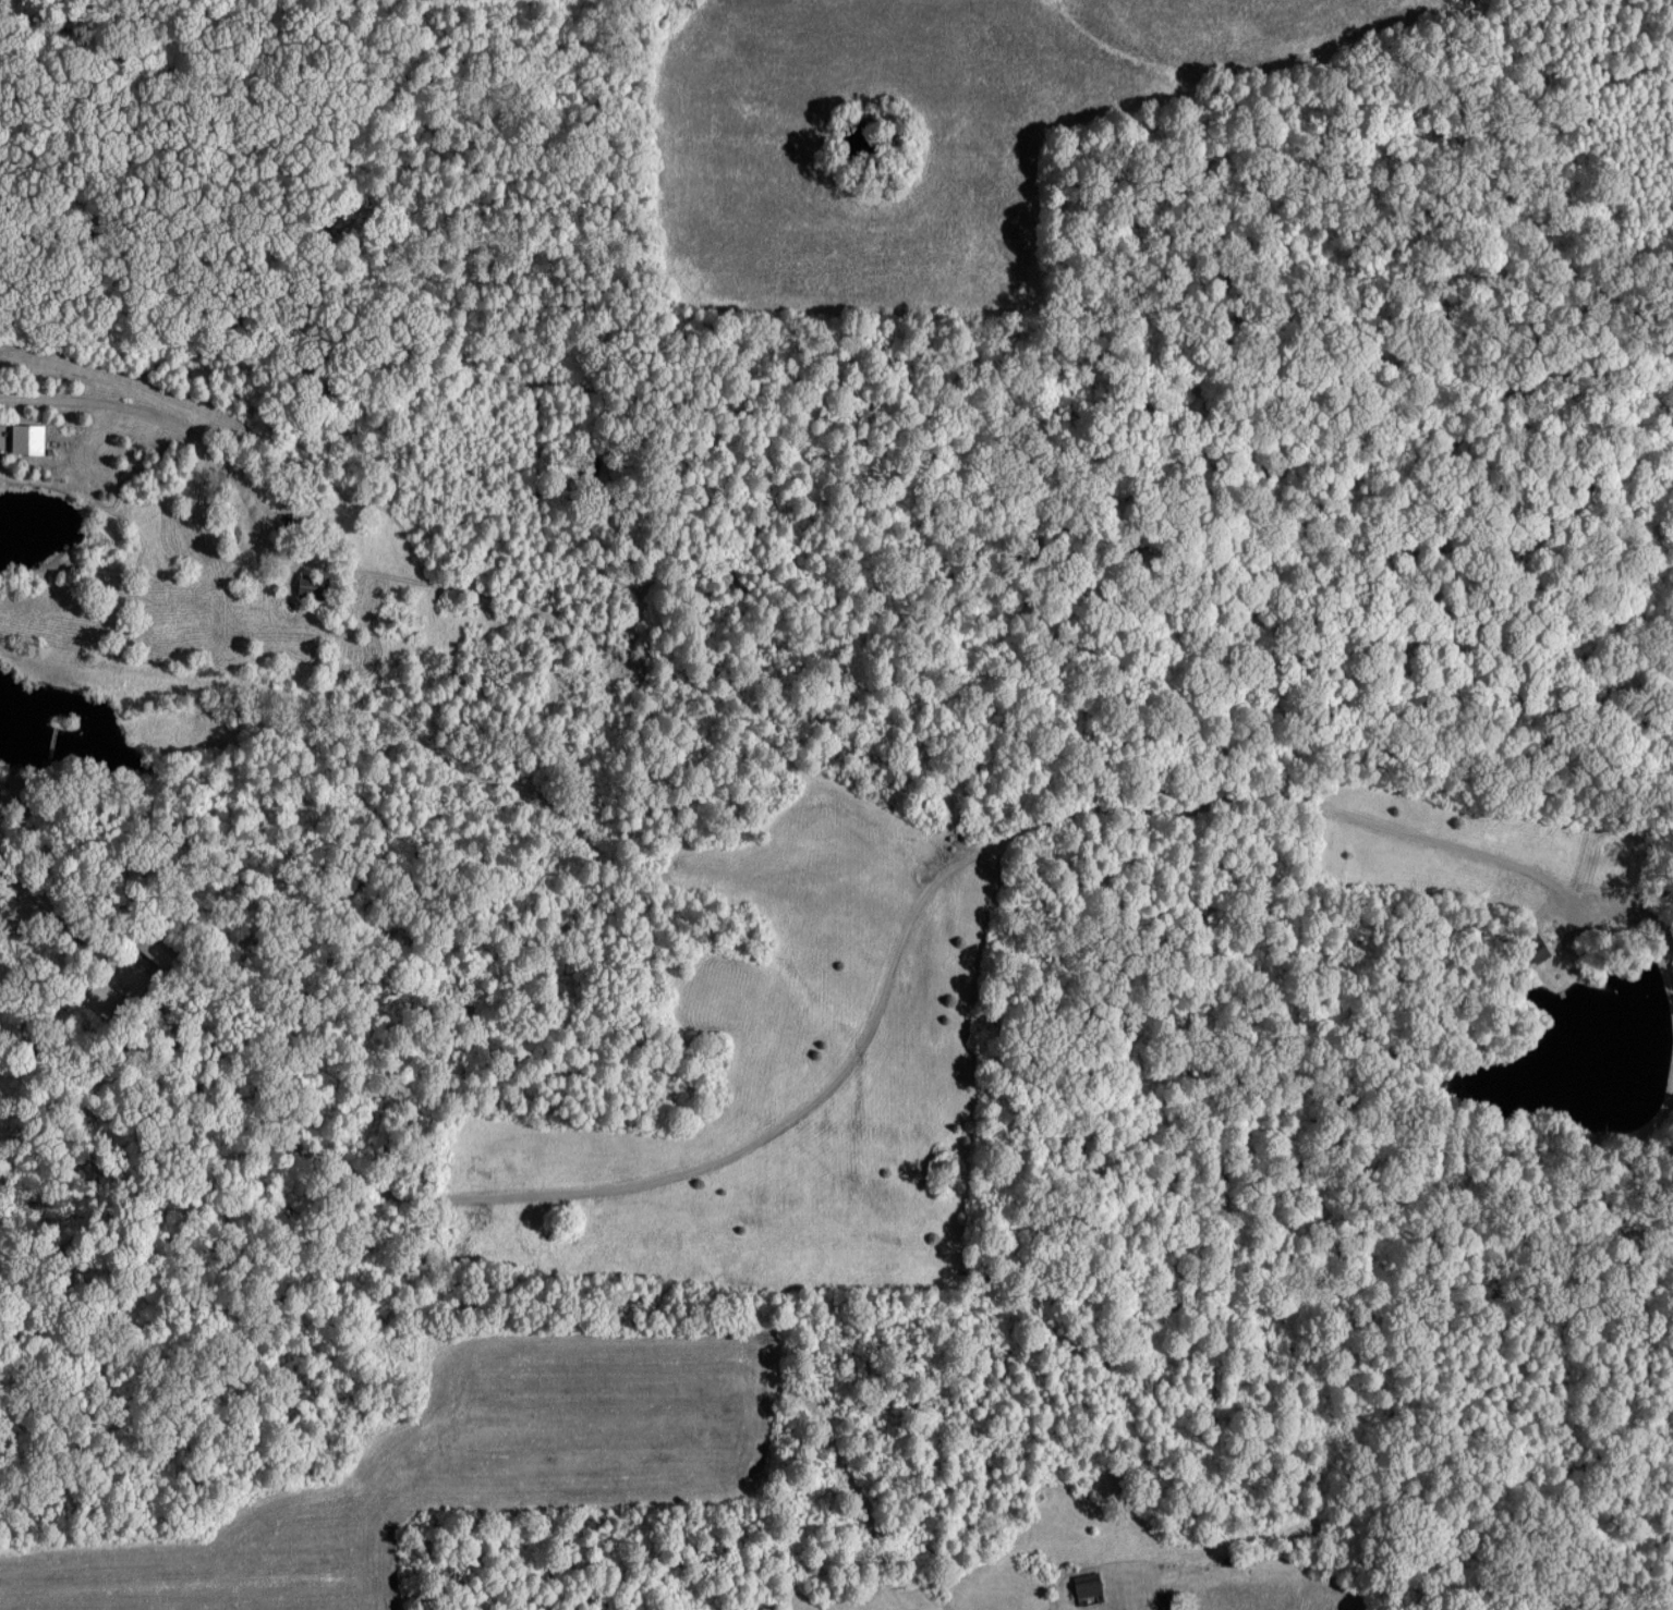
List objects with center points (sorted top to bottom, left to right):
building: (26, 439)
building: (1087, 1584)

